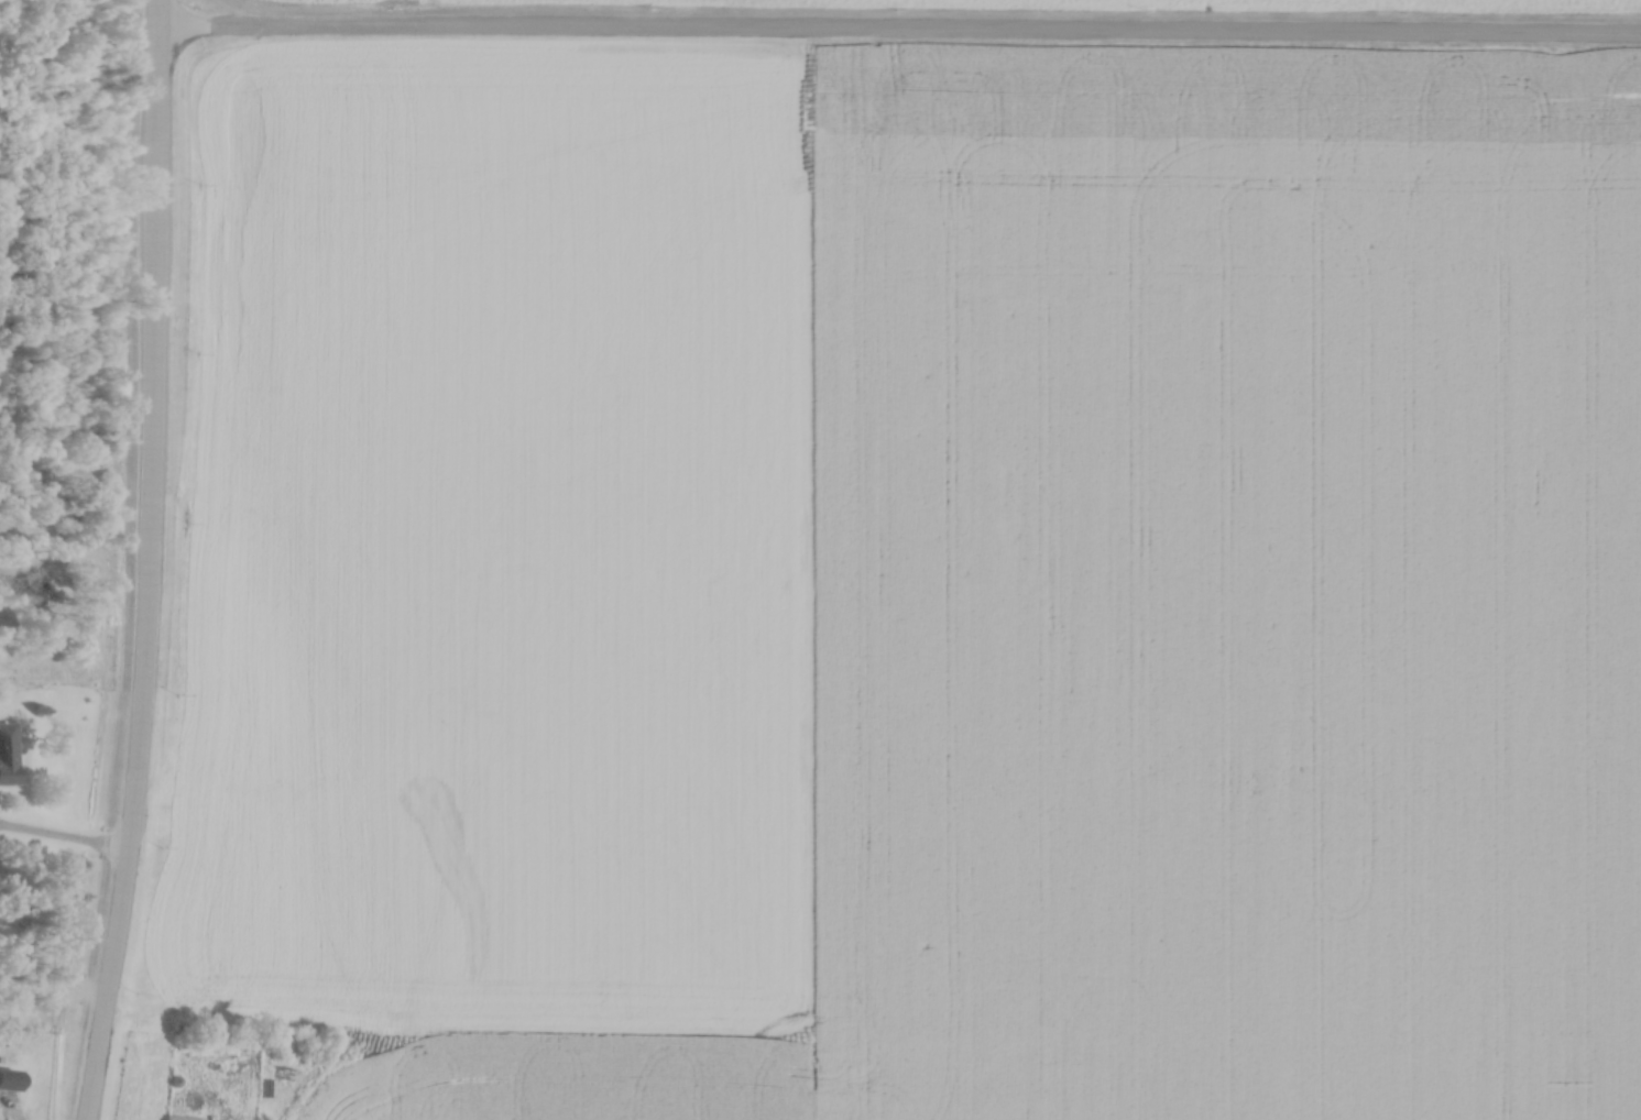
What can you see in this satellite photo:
road: (898, 31)
road: (147, 561)
building: (8, 748)
road: (64, 837)
building: (10, 1076)
building: (182, 1116)

